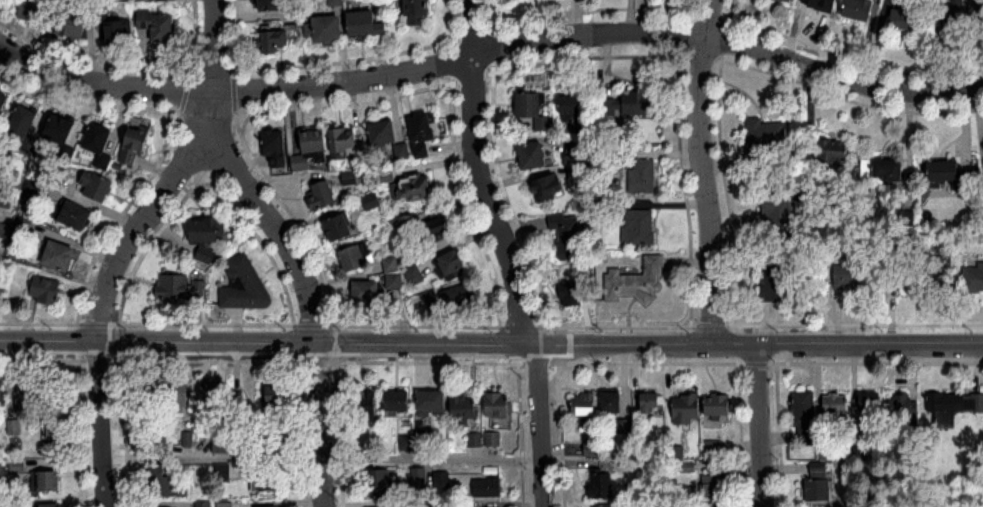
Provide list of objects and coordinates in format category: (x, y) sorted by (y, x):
building: (787, 1)
building: (823, 3)
building: (271, 5)
building: (860, 9)
building: (38, 11)
building: (417, 11)
building: (958, 13)
building: (906, 15)
building: (74, 23)
building: (365, 23)
building: (160, 28)
building: (325, 29)
building: (120, 32)
building: (272, 41)
road: (489, 52)
road: (213, 67)
building: (3, 103)
building: (638, 104)
building: (574, 108)
building: (533, 110)
building: (23, 122)
building: (60, 130)
building: (382, 133)
building: (421, 133)
building: (97, 138)
building: (343, 140)
building: (762, 143)
building: (134, 147)
building: (275, 147)
building: (402, 152)
building: (833, 153)
building: (533, 157)
building: (883, 172)
road: (705, 173)
building: (948, 173)
road: (483, 175)
building: (643, 177)
building: (96, 187)
building: (412, 188)
building: (548, 188)
building: (322, 196)
building: (5, 199)
building: (371, 202)
building: (778, 204)
building: (75, 216)
building: (339, 228)
building: (639, 228)
road: (134, 229)
building: (436, 230)
road: (278, 233)
building: (207, 236)
building: (568, 236)
building: (59, 257)
building: (355, 257)
building: (391, 265)
building: (452, 265)
building: (413, 275)
building: (851, 277)
building: (915, 277)
building: (973, 278)
building: (394, 281)
building: (776, 281)
building: (242, 283)
building: (636, 283)
building: (180, 288)
building: (46, 291)
building: (367, 292)
building: (575, 294)
building: (461, 297)
road: (491, 346)
building: (1, 392)
building: (278, 396)
building: (178, 397)
building: (213, 397)
building: (27, 398)
building: (398, 401)
building: (236, 402)
building: (432, 402)
building: (650, 402)
building: (612, 403)
building: (869, 403)
building: (955, 403)
building: (498, 405)
building: (365, 406)
building: (903, 406)
building: (835, 407)
building: (463, 408)
building: (584, 408)
building: (719, 408)
building: (687, 409)
building: (55, 411)
building: (805, 418)
road: (101, 425)
road: (320, 426)
road: (541, 426)
road: (760, 427)
building: (475, 440)
building: (220, 445)
building: (712, 447)
road: (432, 456)
building: (221, 473)
building: (265, 479)
building: (46, 482)
building: (164, 483)
building: (601, 483)
building: (713, 485)
building: (817, 486)
building: (487, 487)
building: (203, 504)
building: (50, 505)
building: (712, 505)
building: (606, 506)

